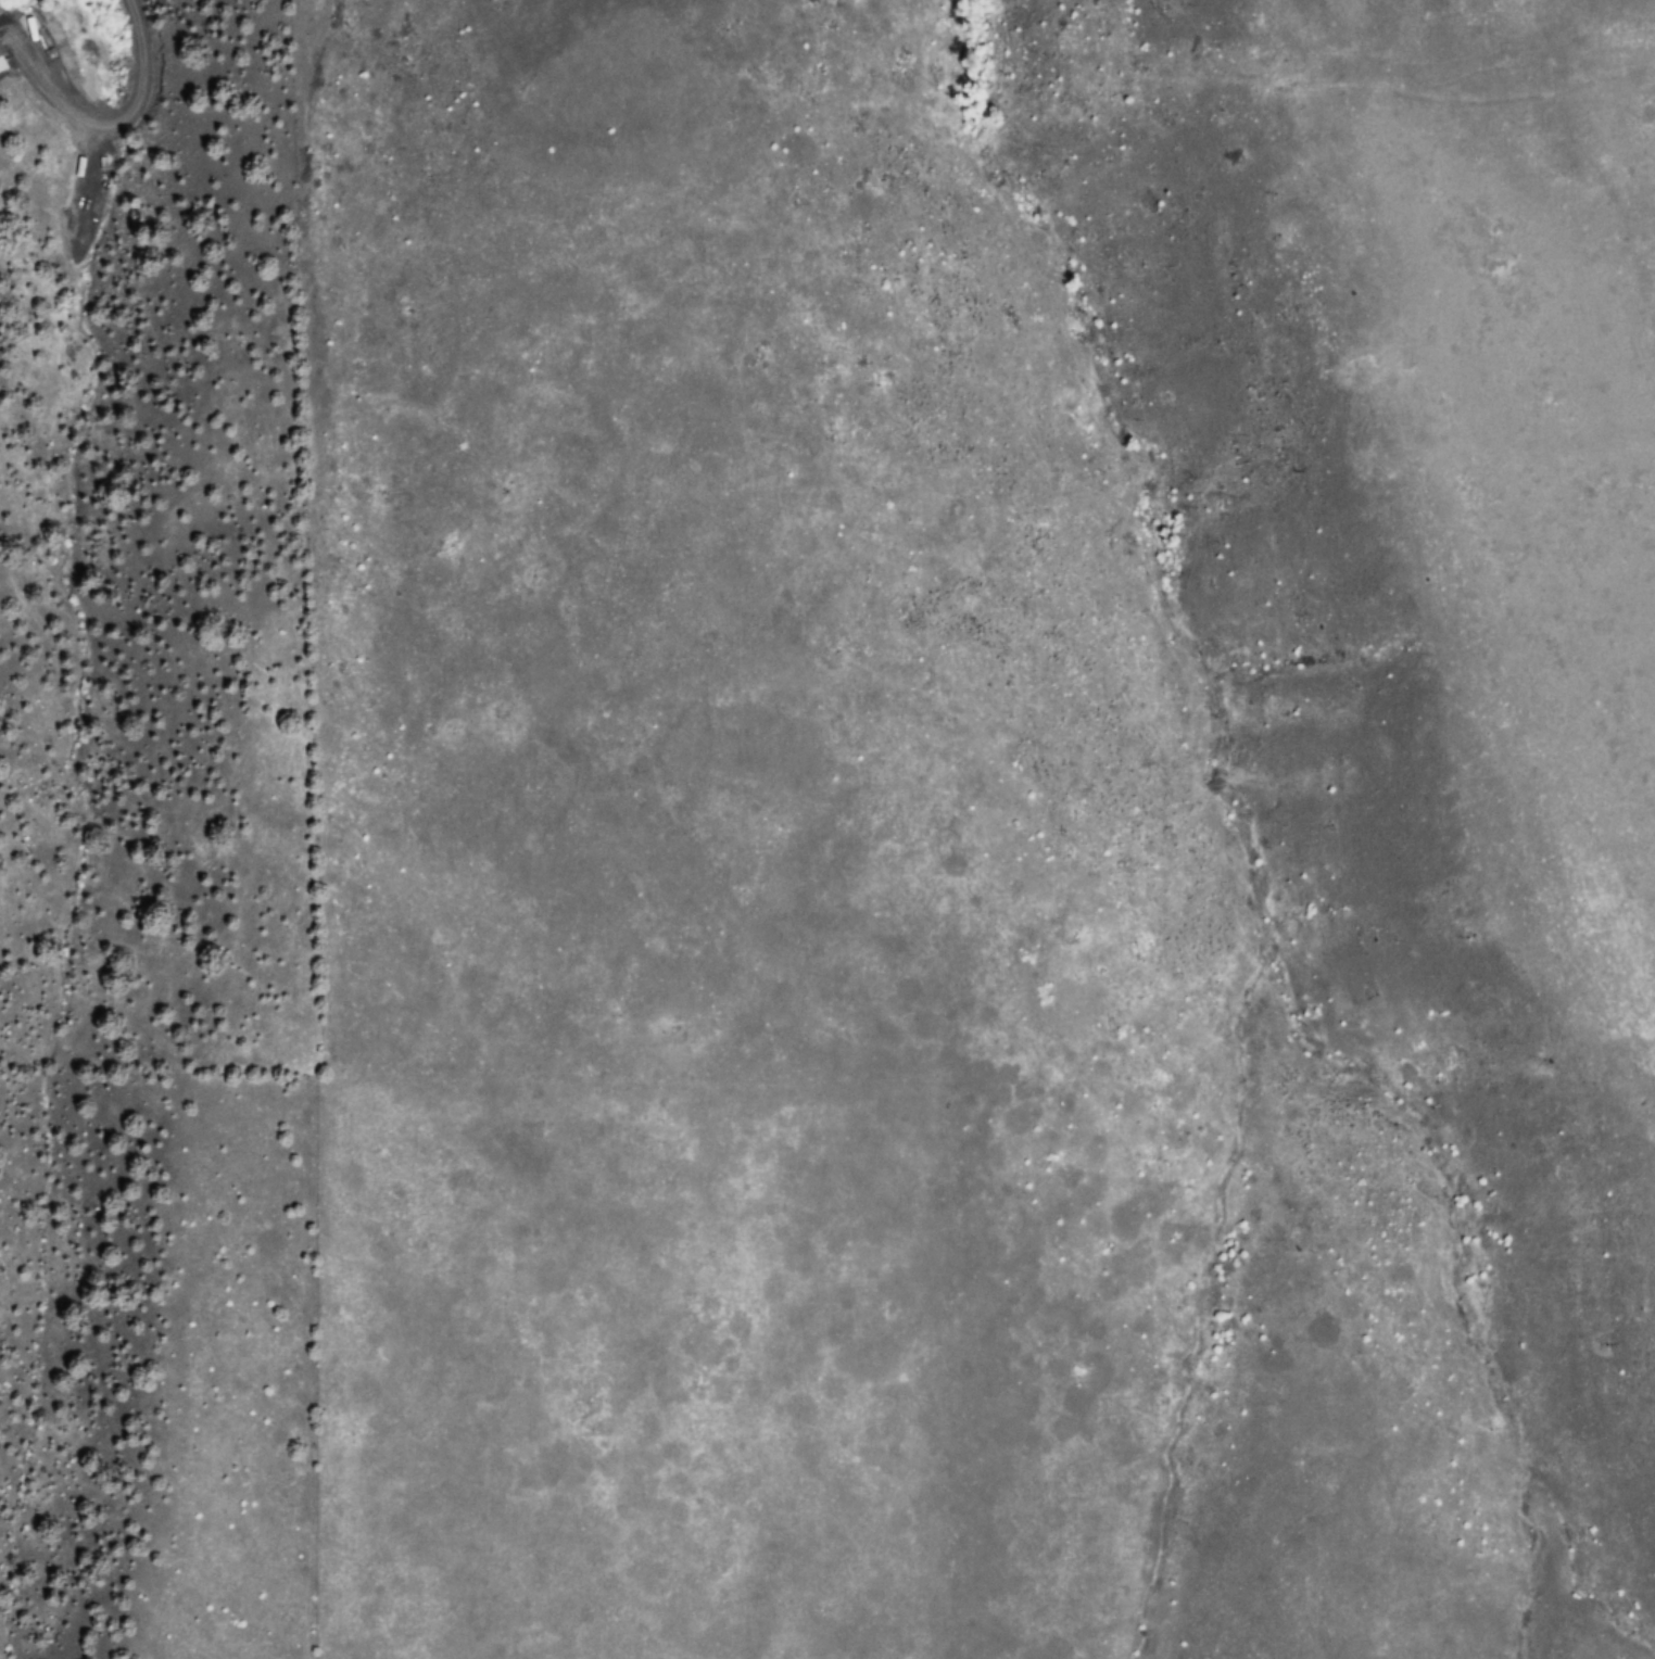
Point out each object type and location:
road: (132, 96)

